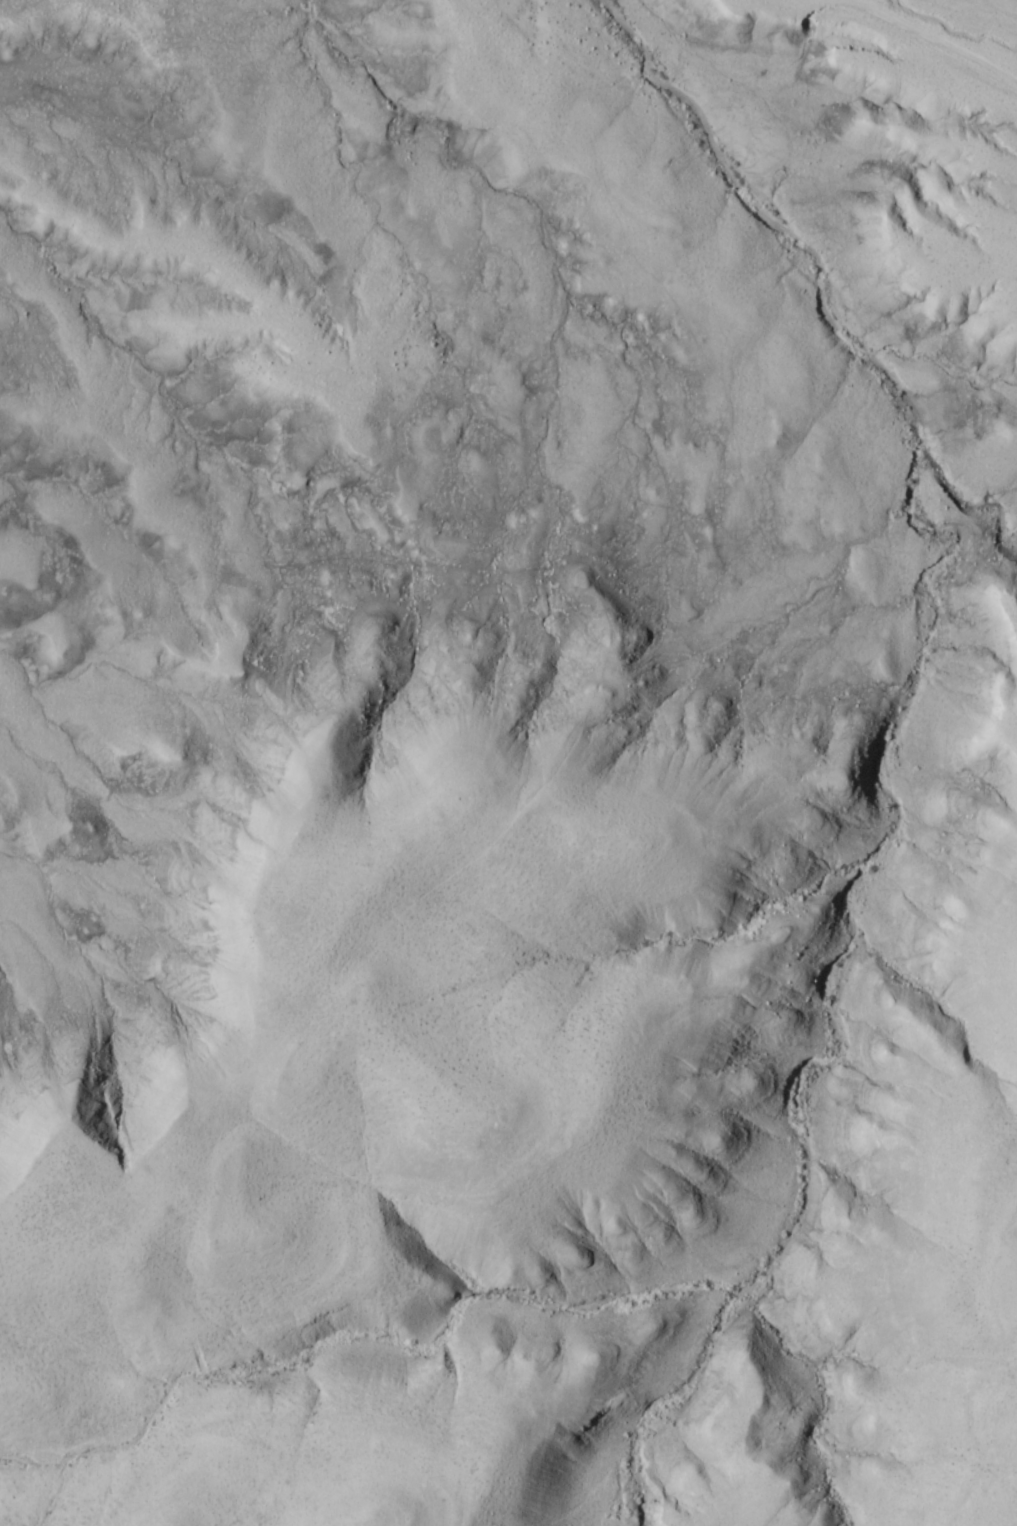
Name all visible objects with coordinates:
road: (919, 35)

